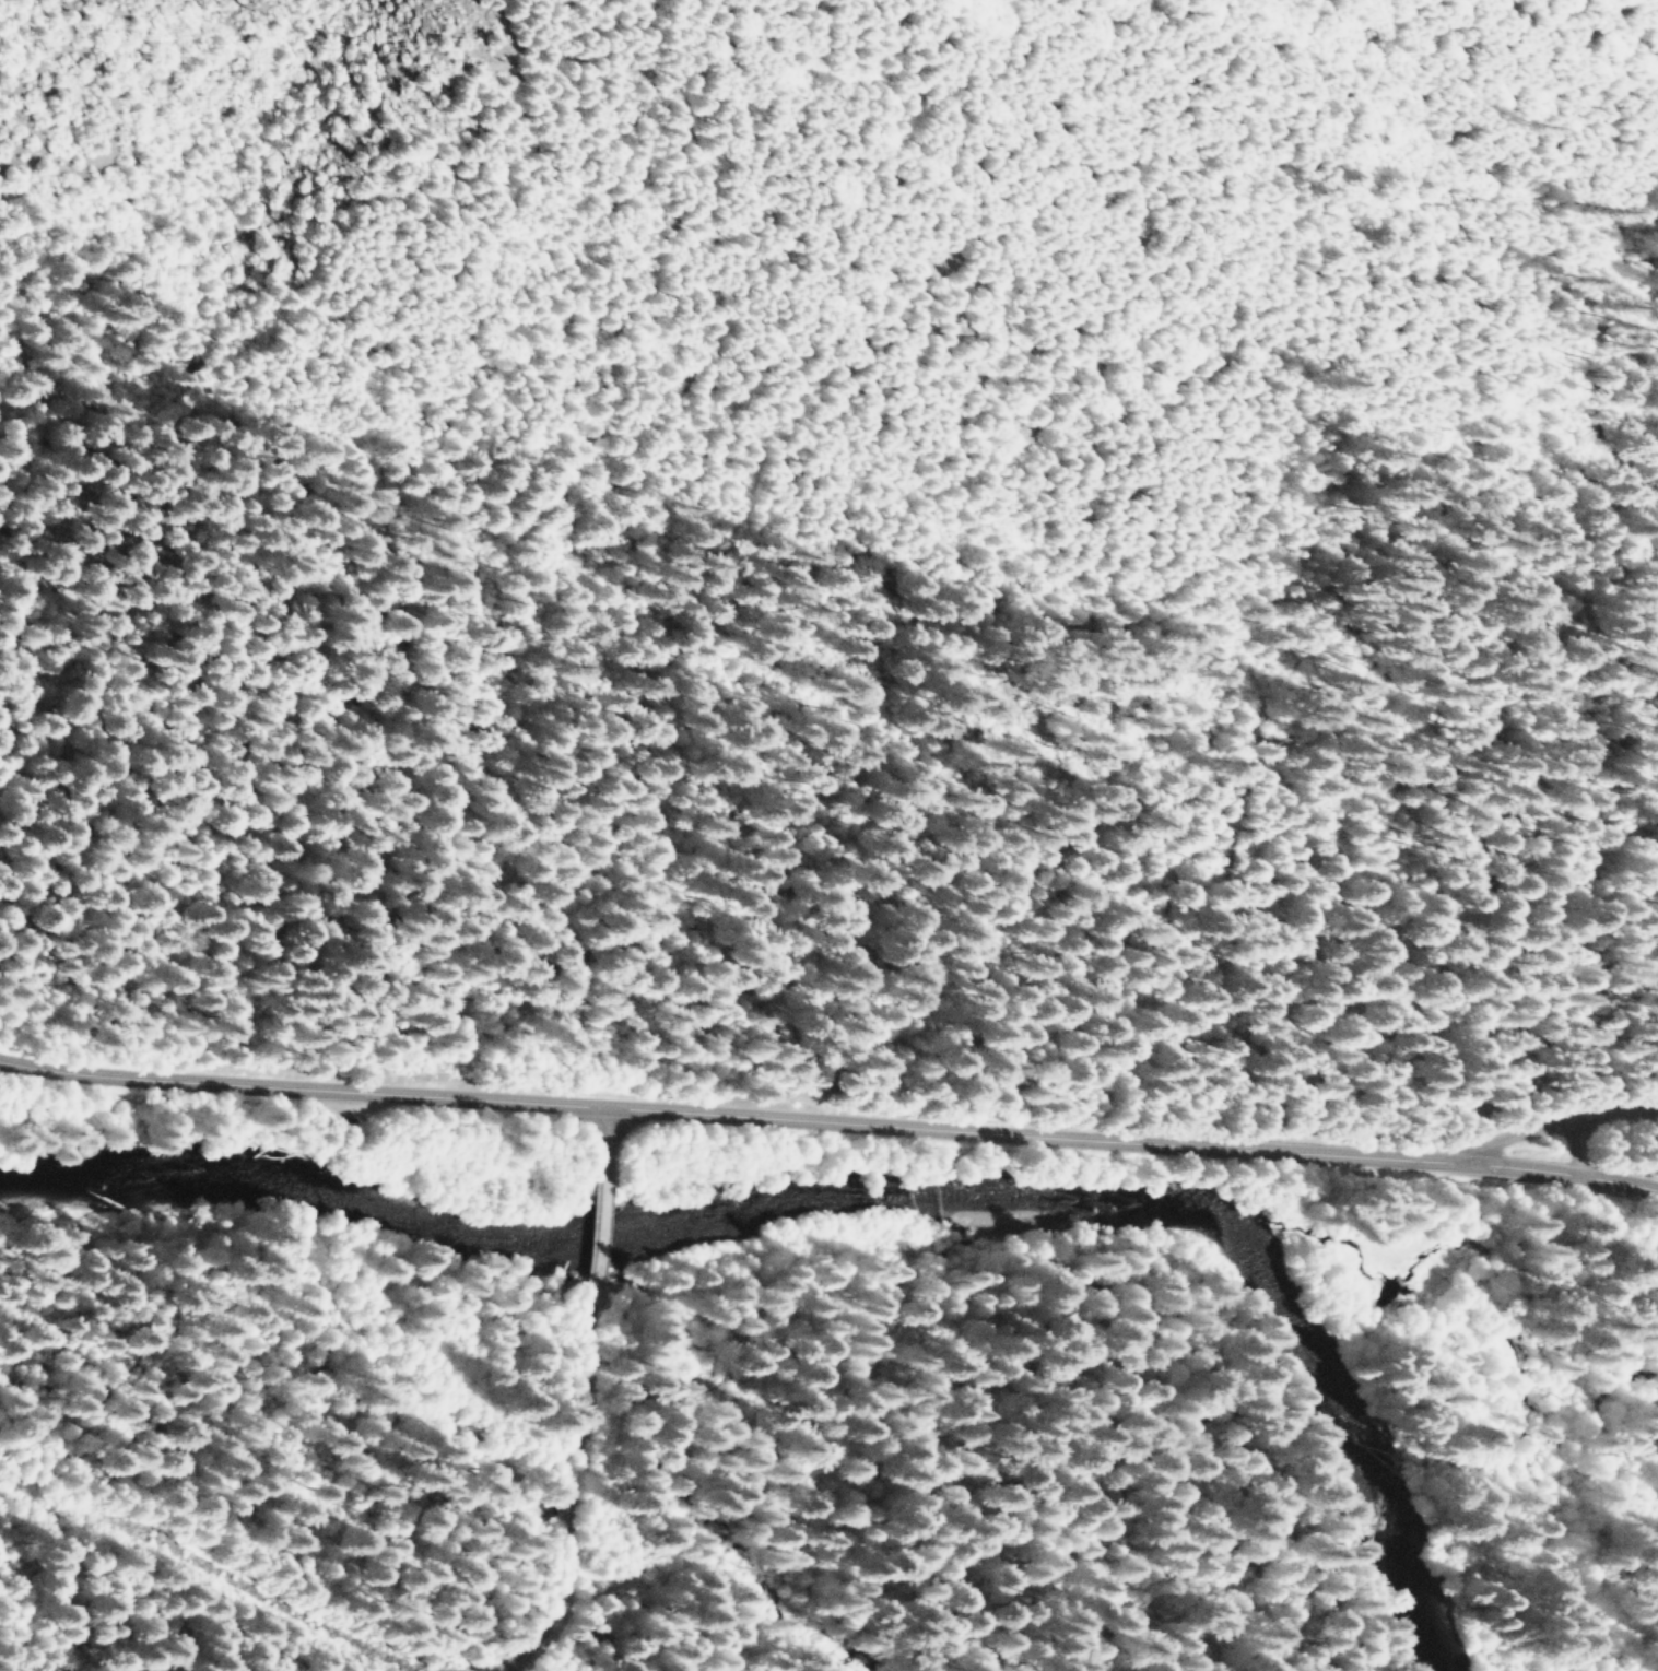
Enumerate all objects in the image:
road: (828, 1117)
road: (1557, 1122)
road: (610, 1141)
road: (1578, 1145)
river: (884, 1217)
road: (602, 1251)
road: (591, 1490)
road: (271, 1578)
road: (537, 1657)

